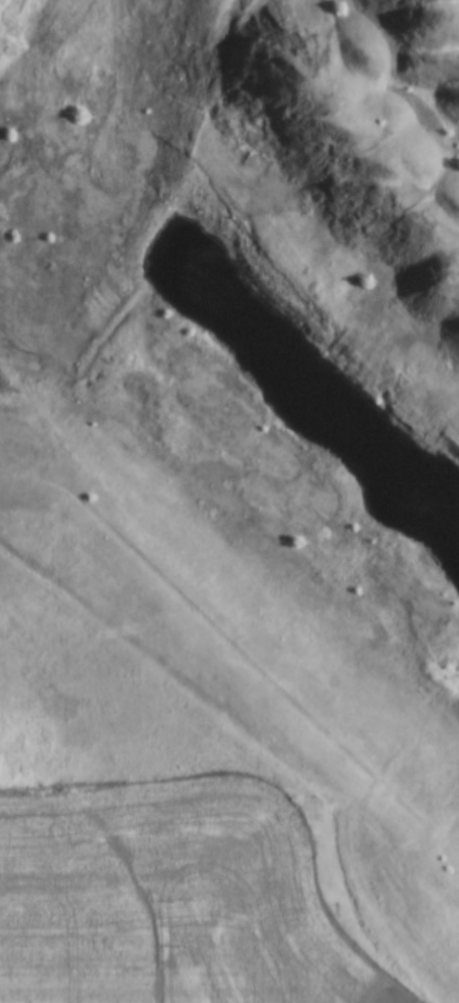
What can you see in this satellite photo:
quarry: (254, 339)

